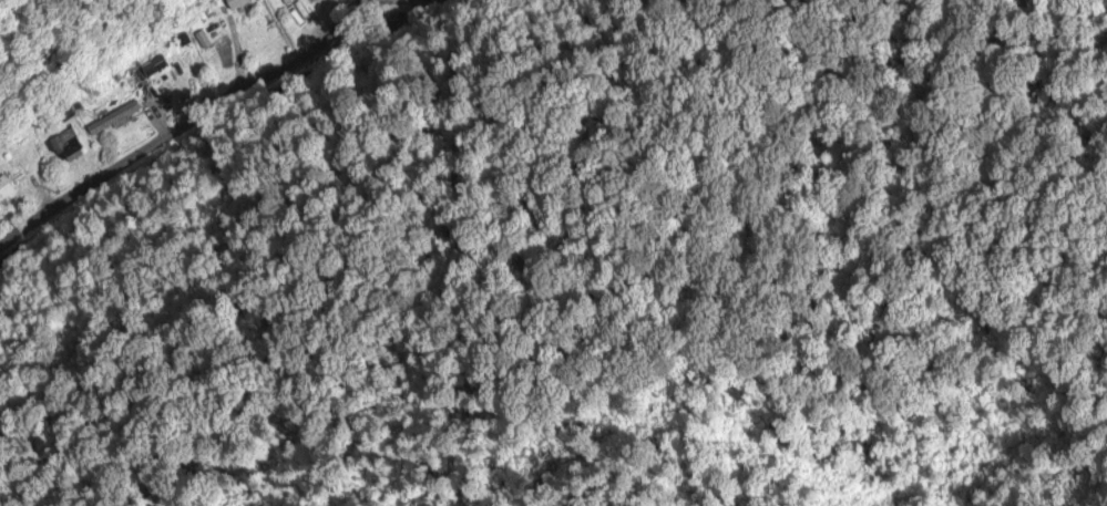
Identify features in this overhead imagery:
building: (113, 117)
building: (63, 138)
road: (203, 157)
building: (6, 185)

